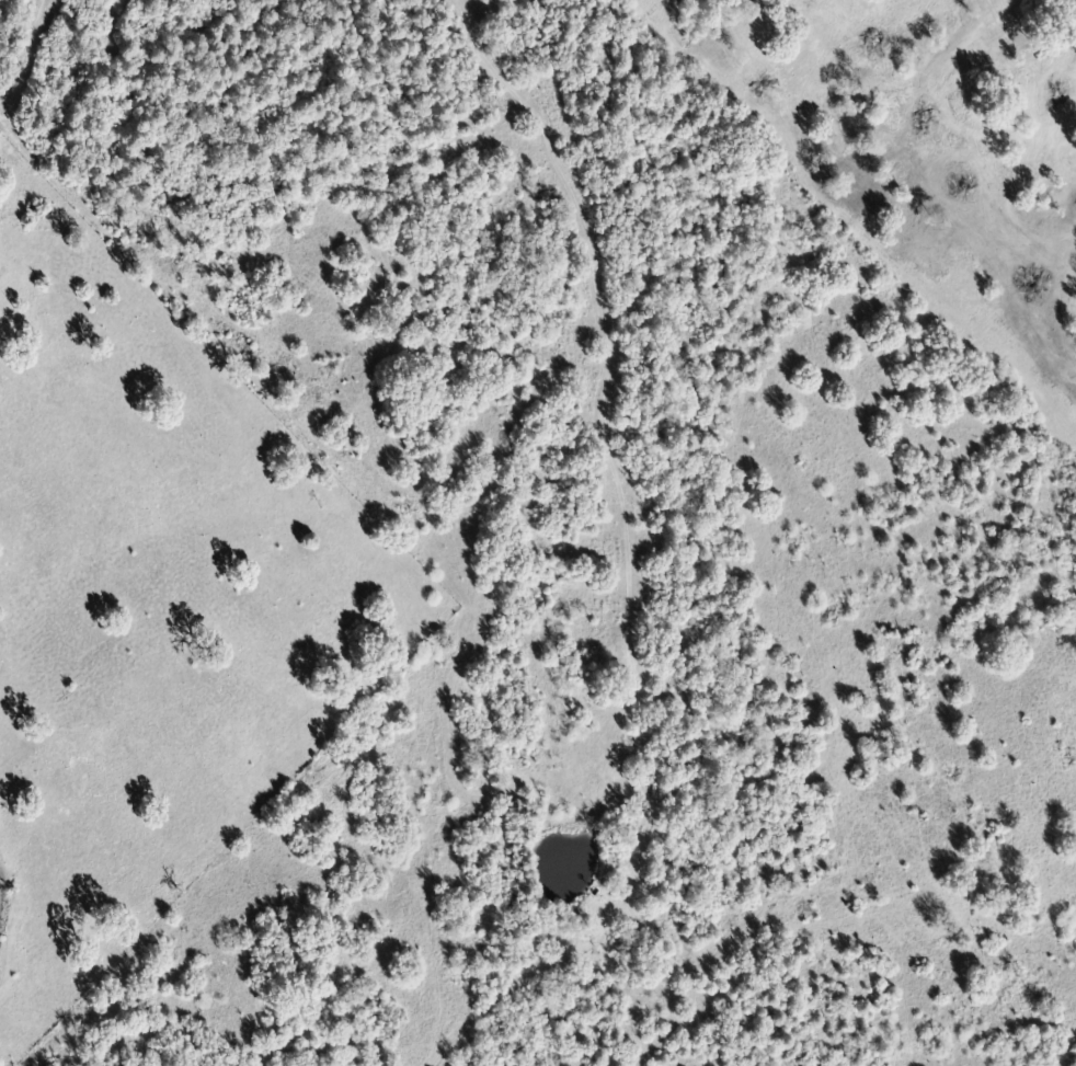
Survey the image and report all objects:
road: (463, 1009)

